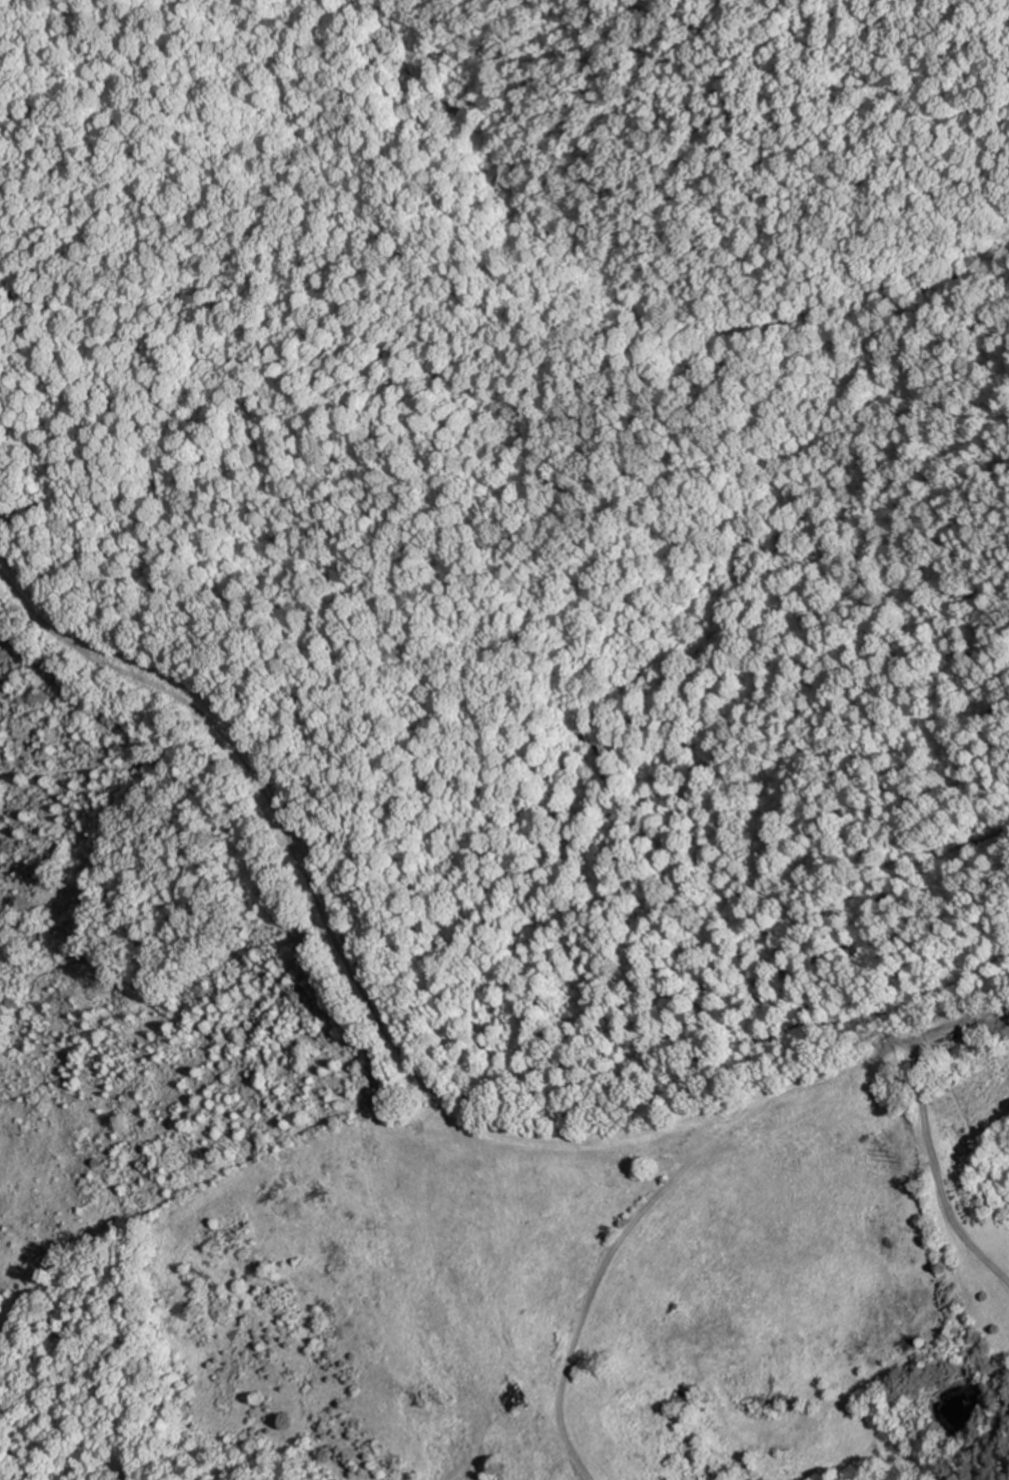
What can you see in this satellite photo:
road: (53, 1110)

